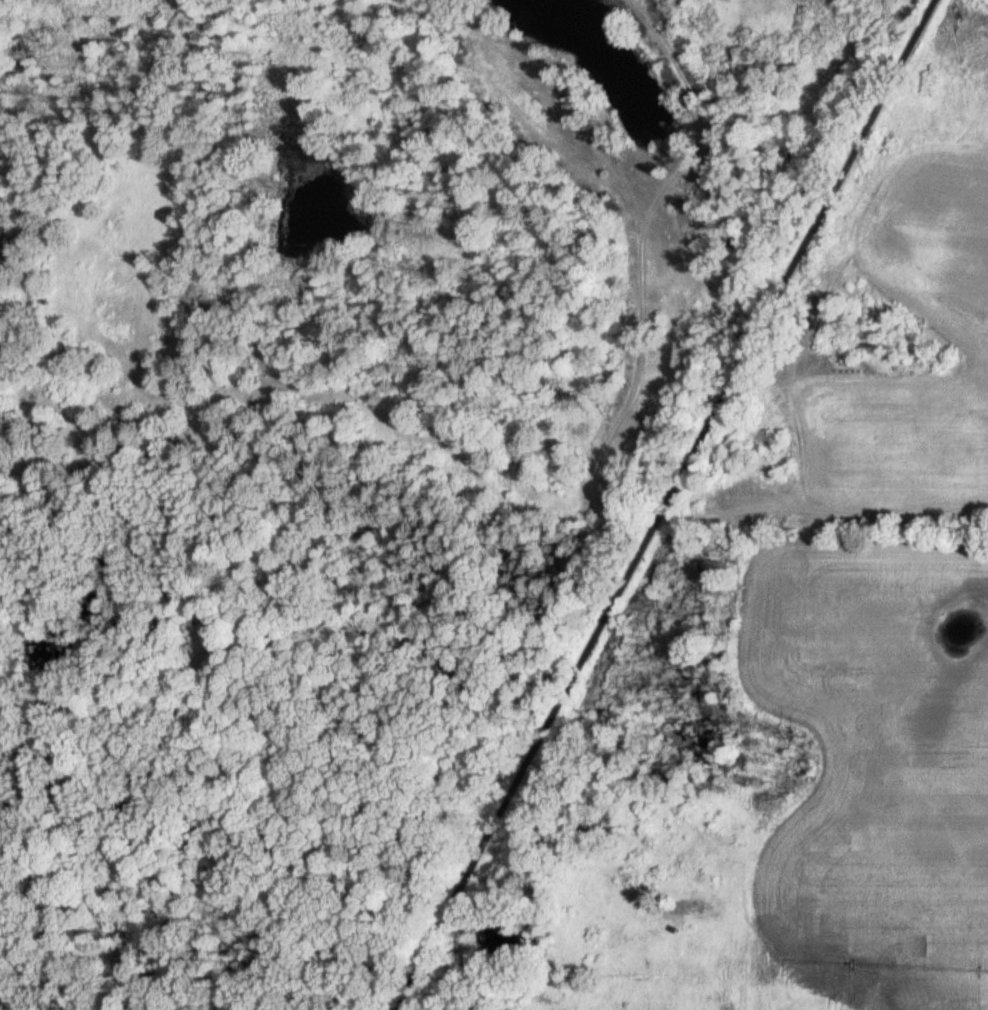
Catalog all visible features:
road: (653, 505)

